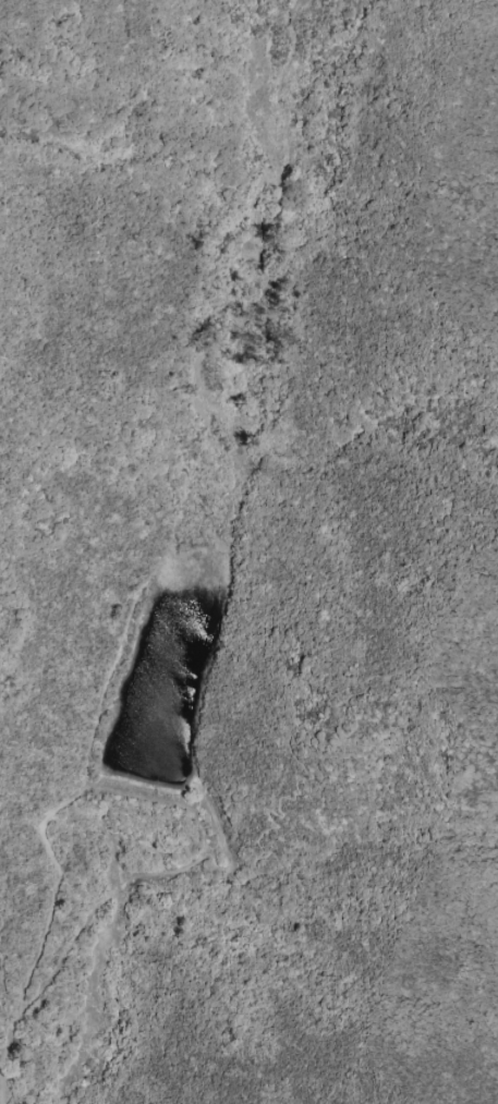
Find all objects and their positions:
road: (234, 878)
road: (0, 1092)

